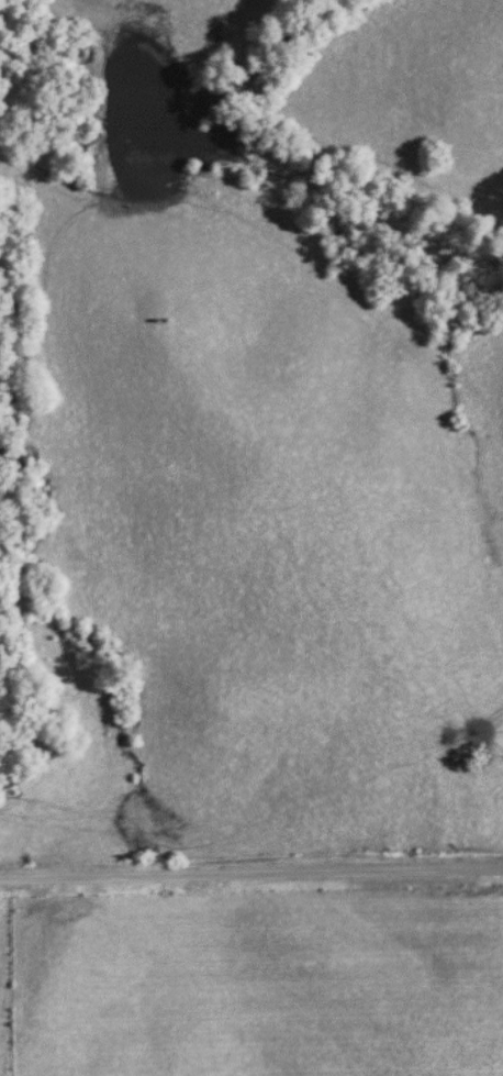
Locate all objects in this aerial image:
road: (251, 877)

